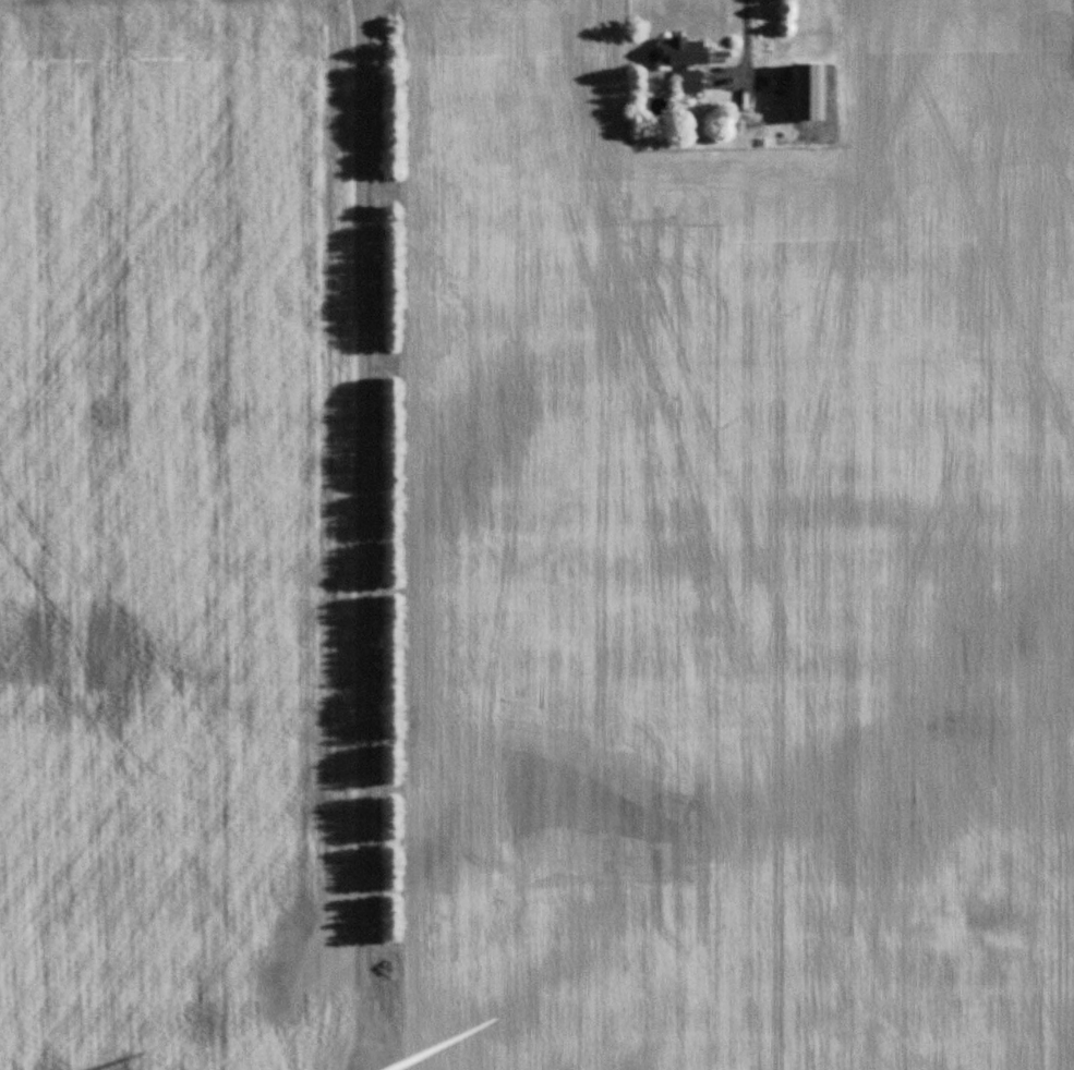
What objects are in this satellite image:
building: (685, 51)
building: (808, 92)
road: (348, 466)
wind turbine: (389, 1063)

